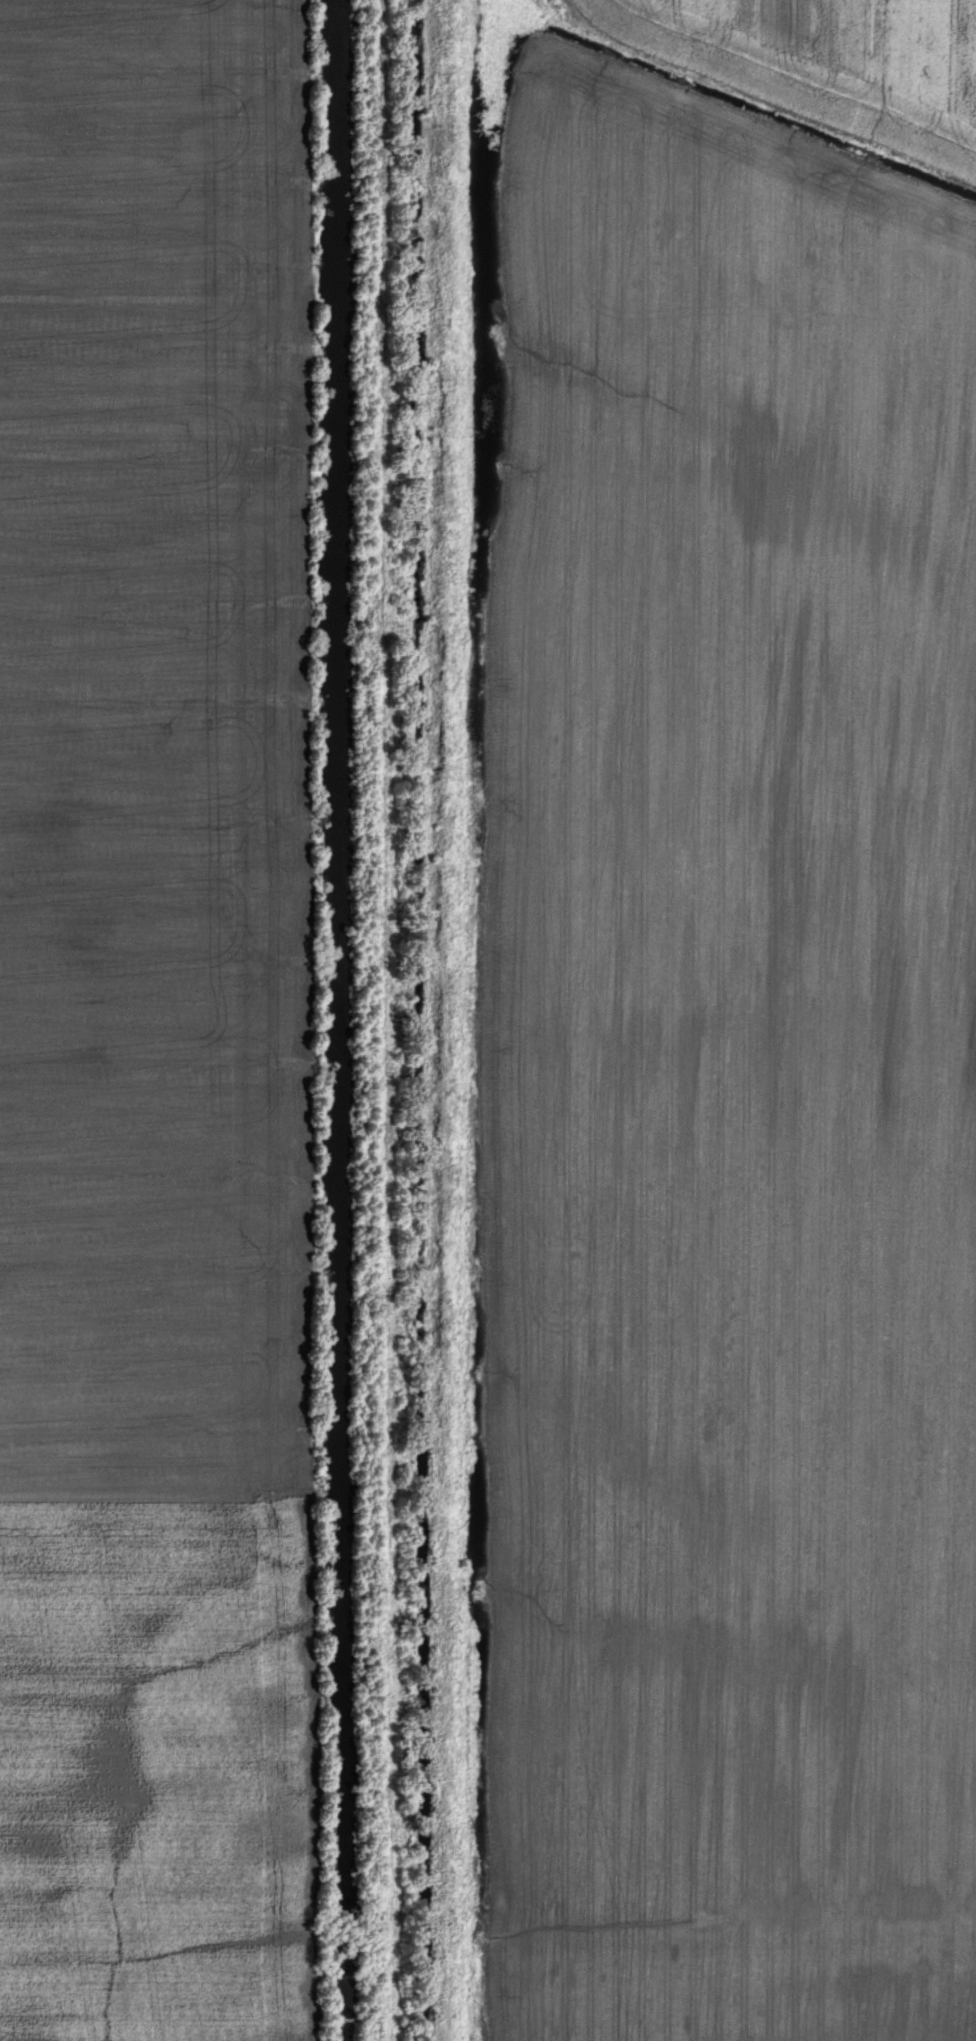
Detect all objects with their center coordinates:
crop: (824, 61)
crop: (155, 1026)
crop: (729, 1085)

